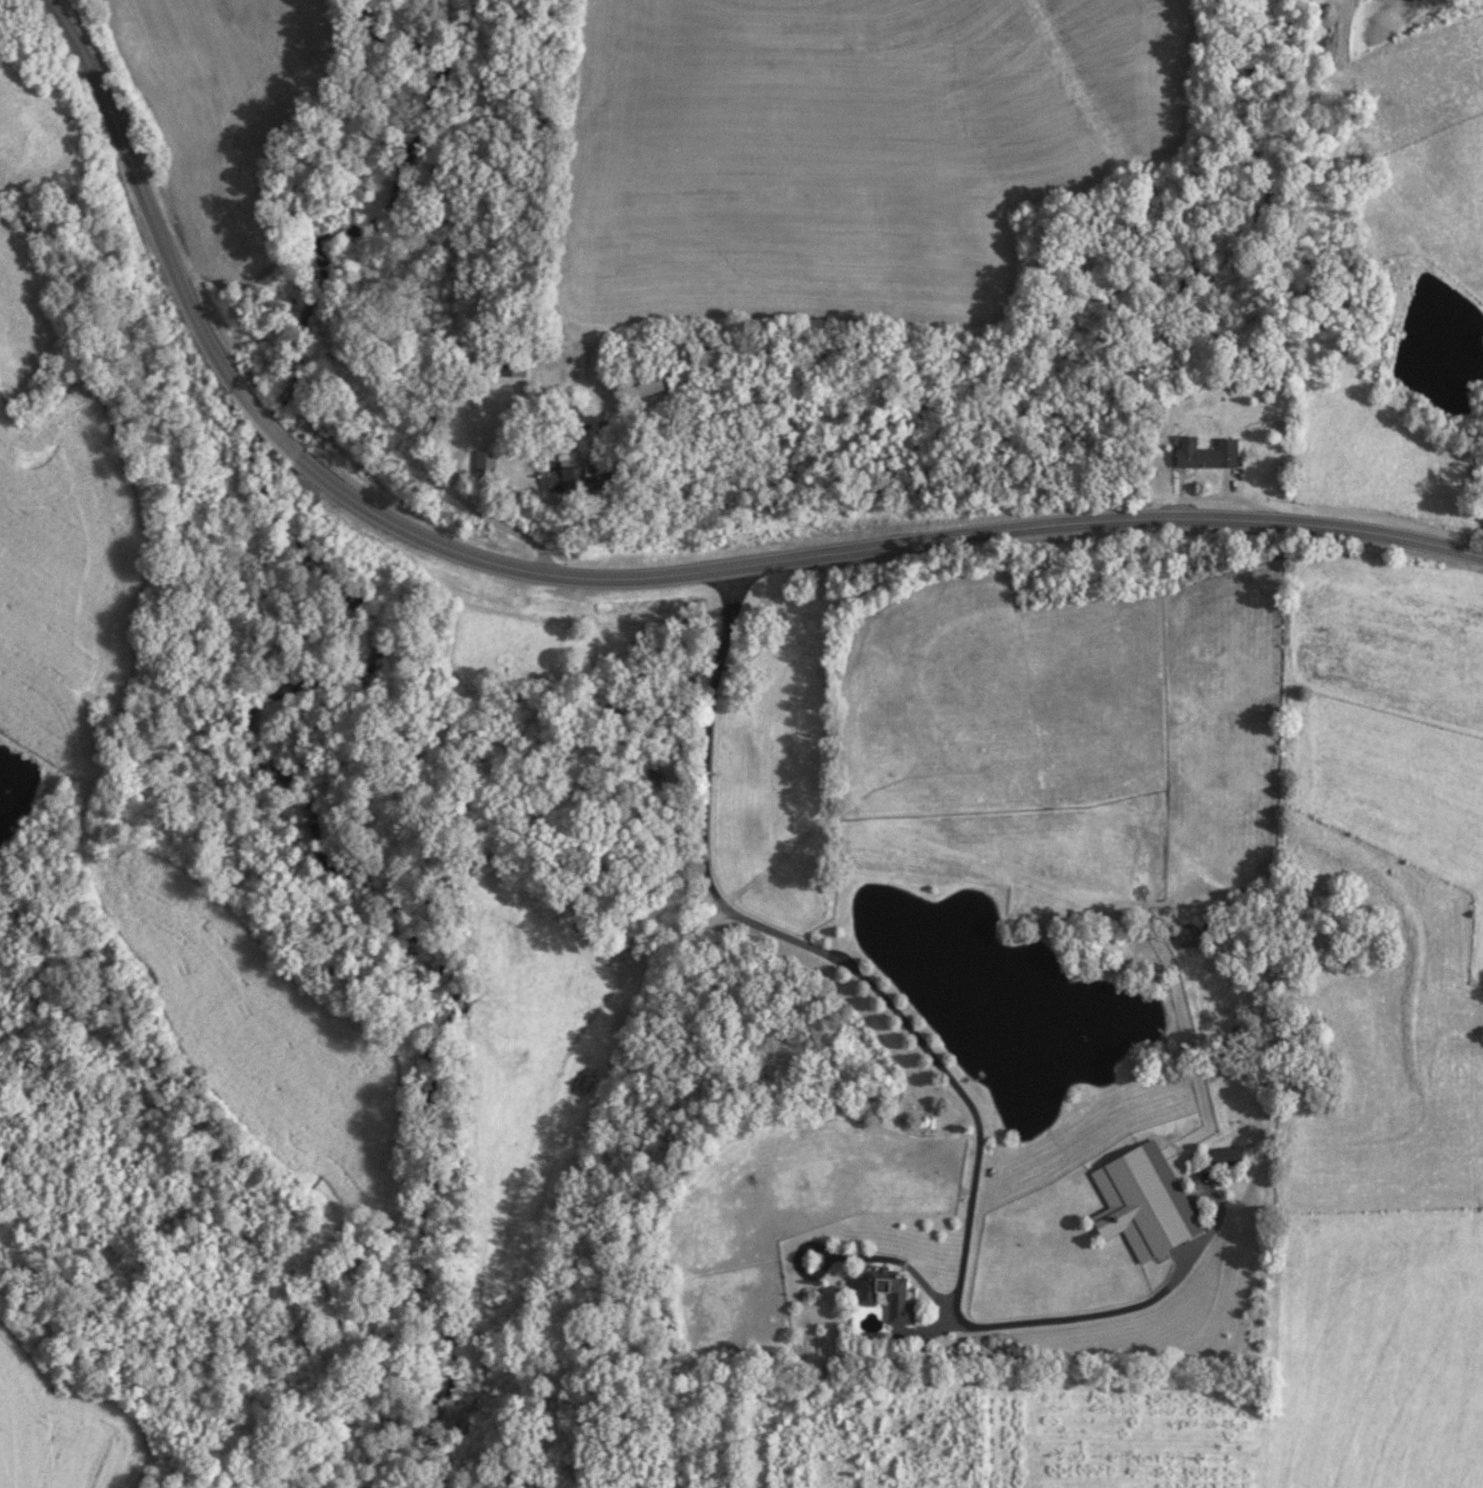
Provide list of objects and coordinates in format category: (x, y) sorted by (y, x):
road: (78, 46)
road: (163, 242)
building: (513, 365)
building: (633, 386)
building: (565, 411)
road: (267, 423)
building: (1203, 453)
building: (483, 465)
building: (567, 478)
road: (457, 493)
road: (1228, 520)
road: (623, 577)
building: (1190, 935)
road: (682, 937)
road: (839, 959)
building: (1223, 1157)
building: (1142, 1202)
building: (884, 1293)
road: (1119, 1297)

